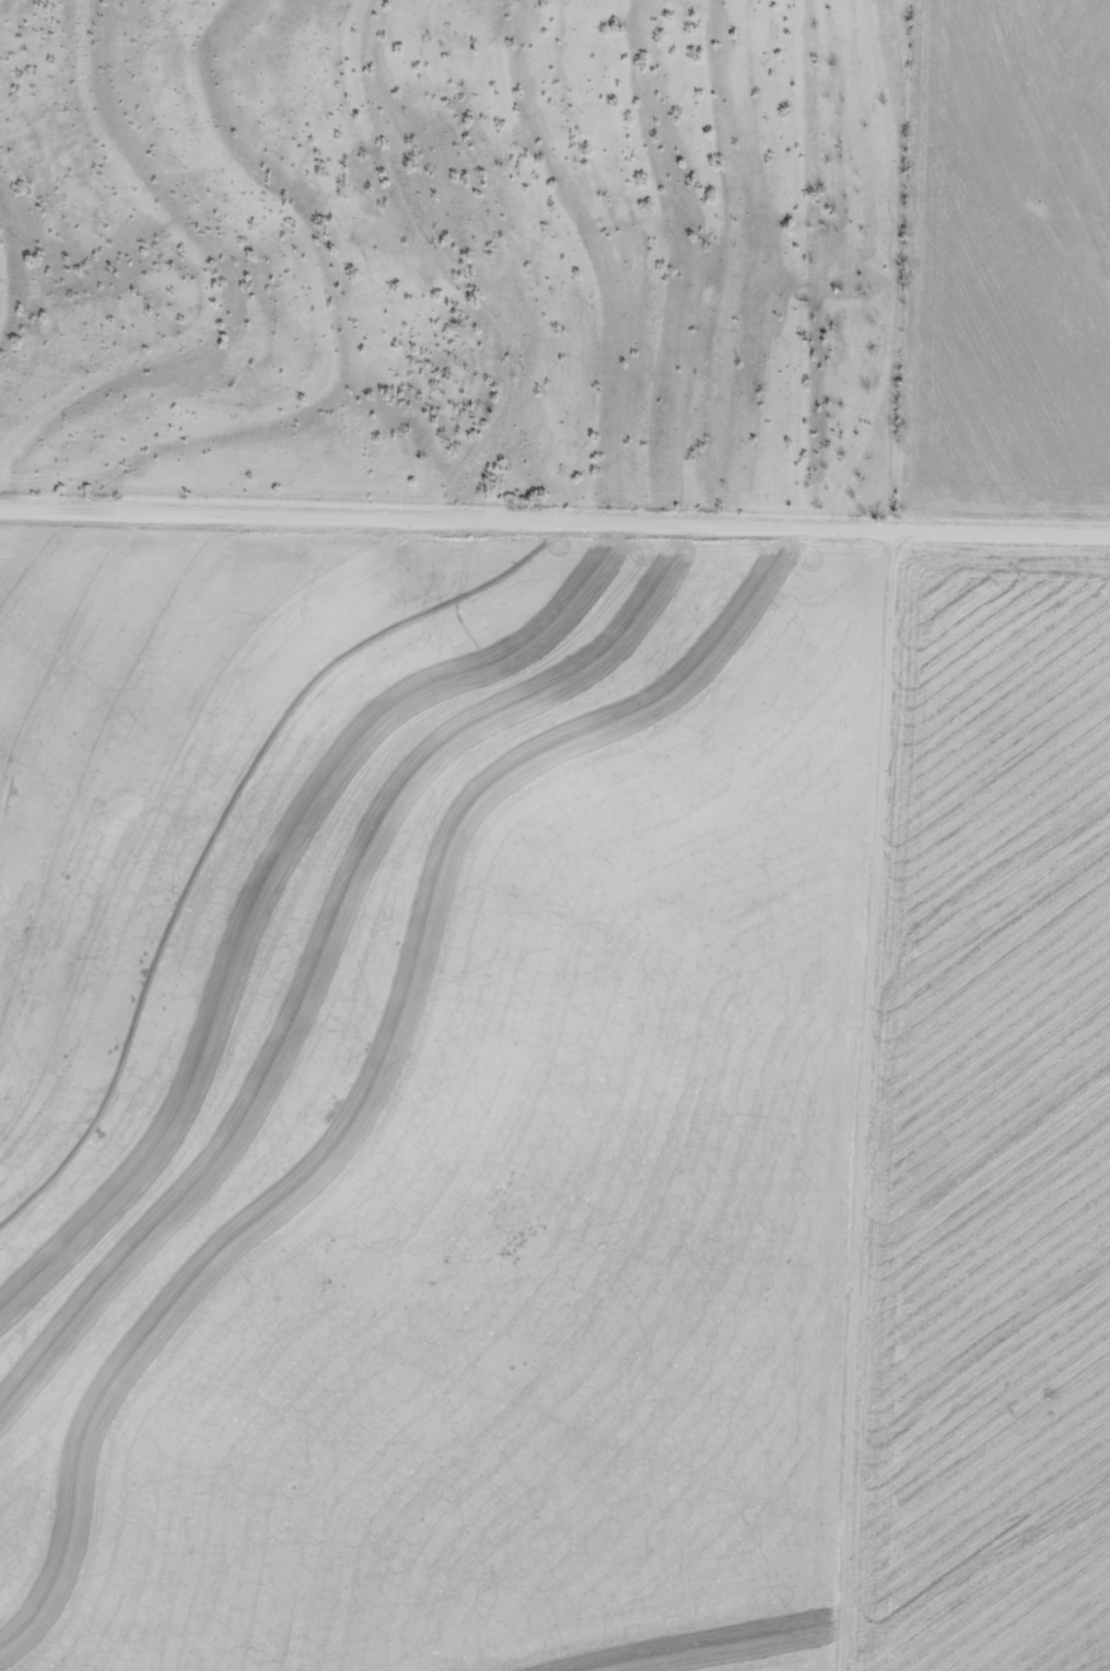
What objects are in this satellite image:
road: (554, 521)

